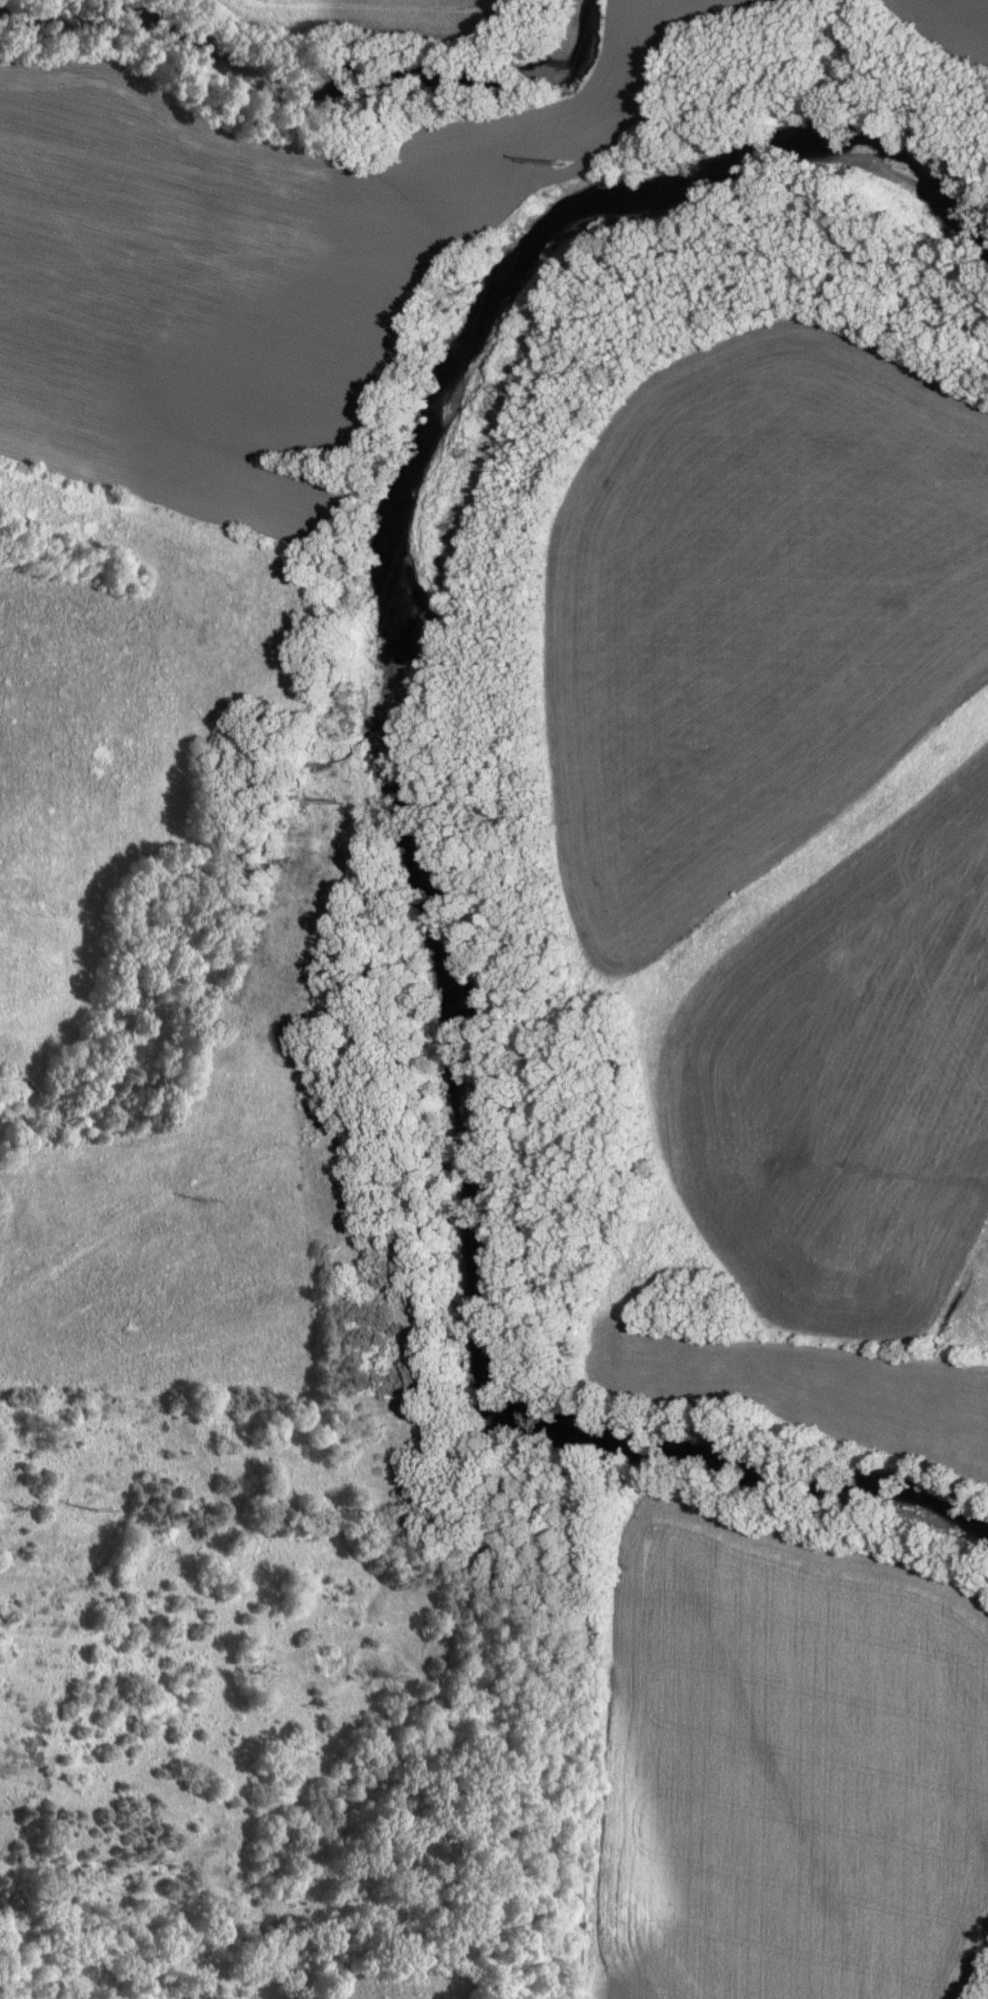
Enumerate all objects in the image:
river: (436, 821)

